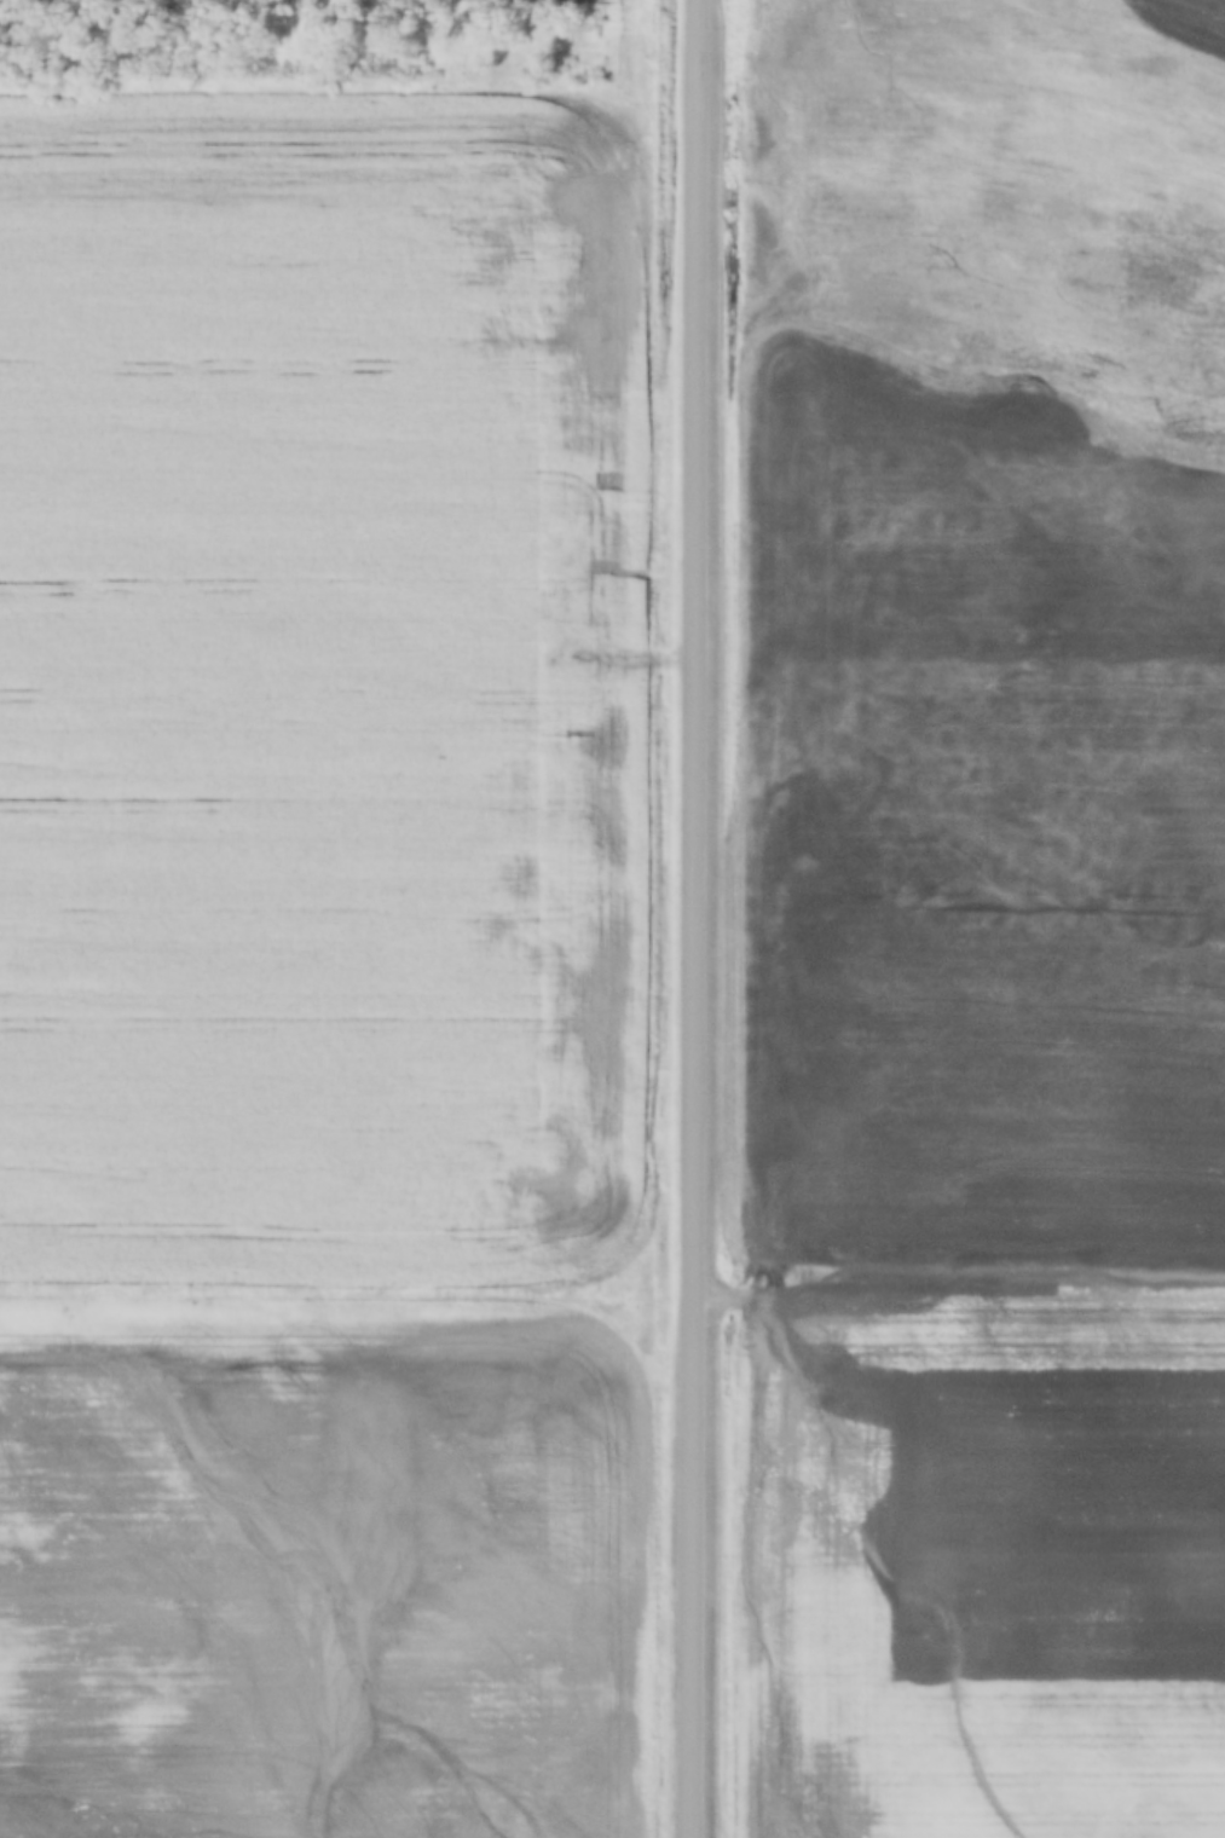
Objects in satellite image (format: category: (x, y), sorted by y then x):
road: (697, 919)

